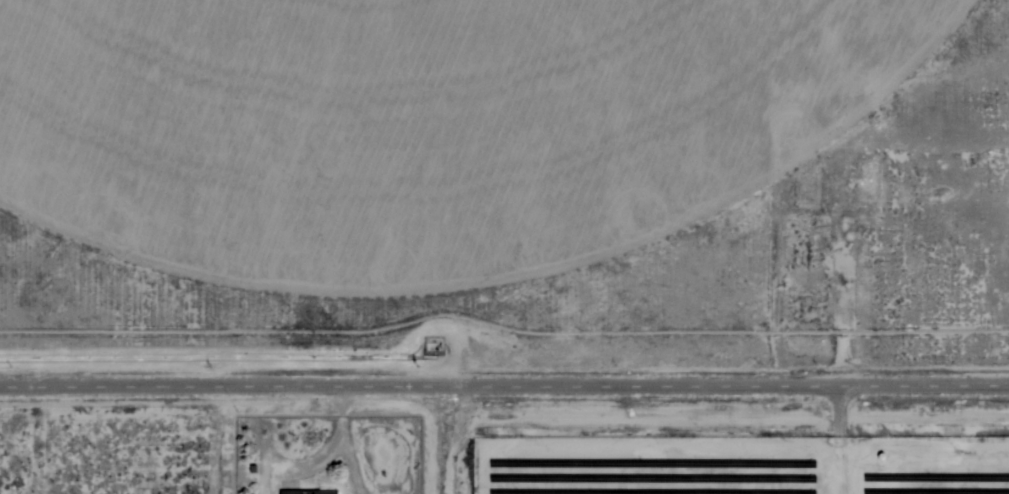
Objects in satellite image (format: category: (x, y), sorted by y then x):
crop: (420, 124)
road: (504, 391)
road: (446, 443)
solar farm: (738, 469)
building: (307, 491)

